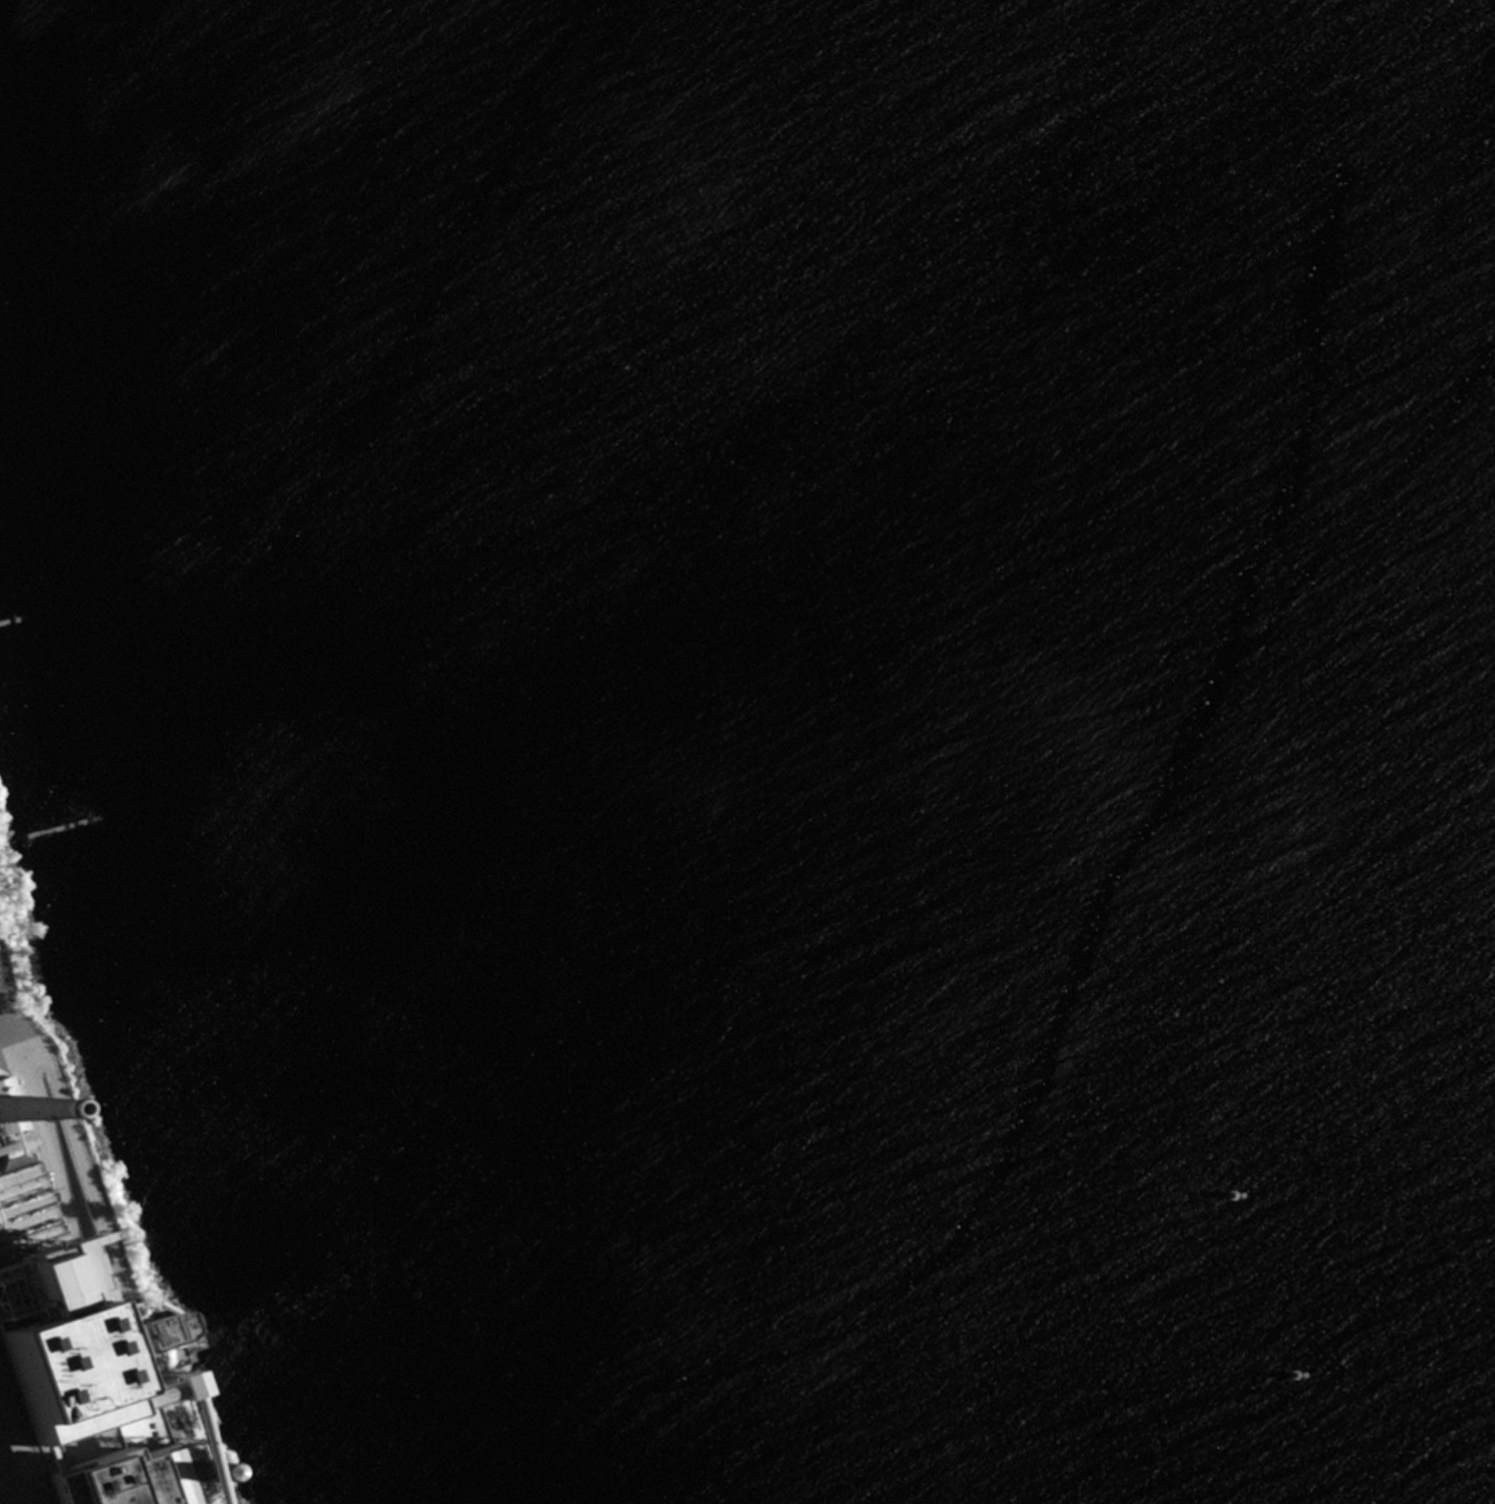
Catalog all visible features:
wastewater plant: (13, 892)
building: (9, 1108)
building: (13, 1185)
power plant: (108, 1259)
building: (78, 1399)

